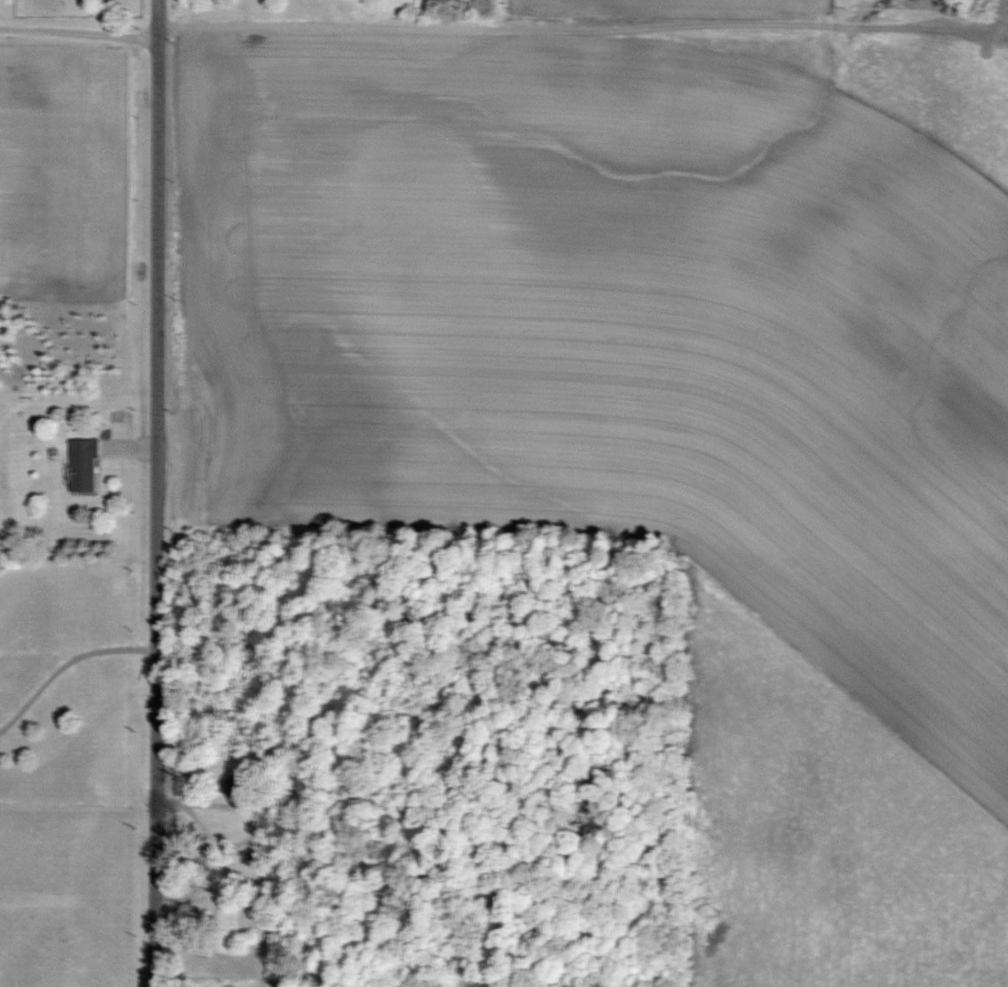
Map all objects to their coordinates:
road: (78, 35)
building: (80, 465)
road: (155, 493)
road: (64, 662)

